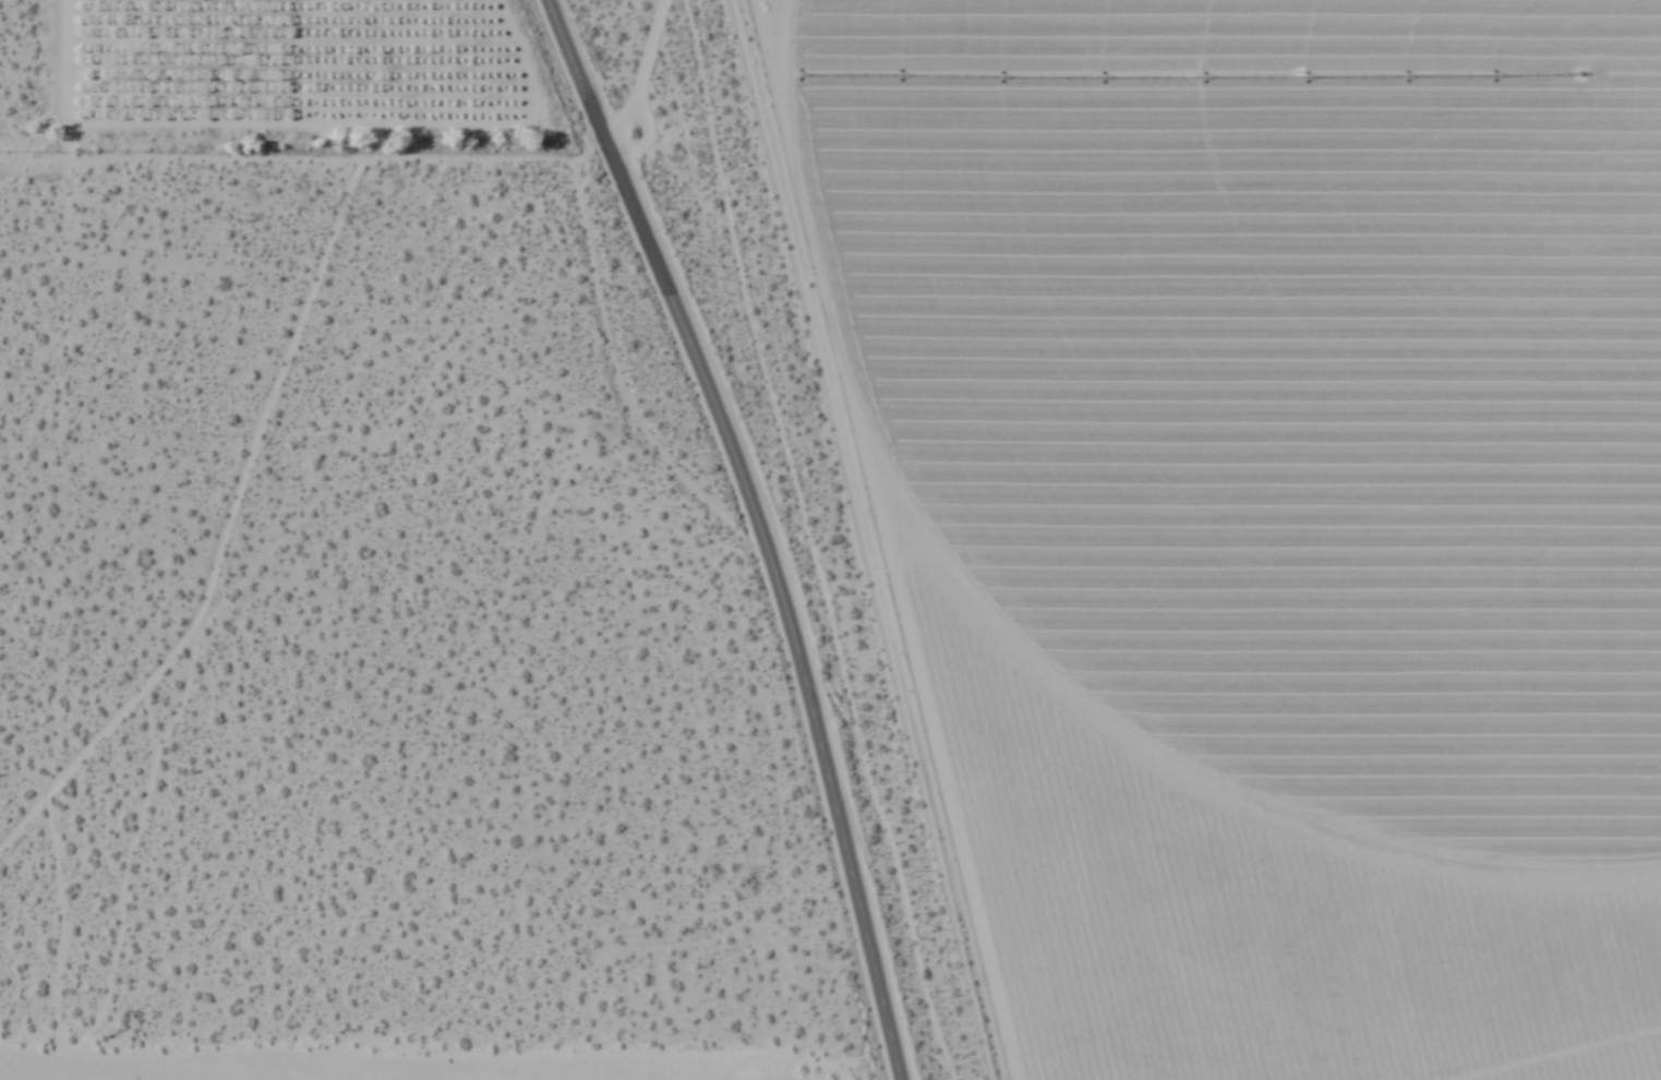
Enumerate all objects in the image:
road: (24, 153)
crop: (1269, 381)
road: (758, 528)
building: (1067, 1056)

